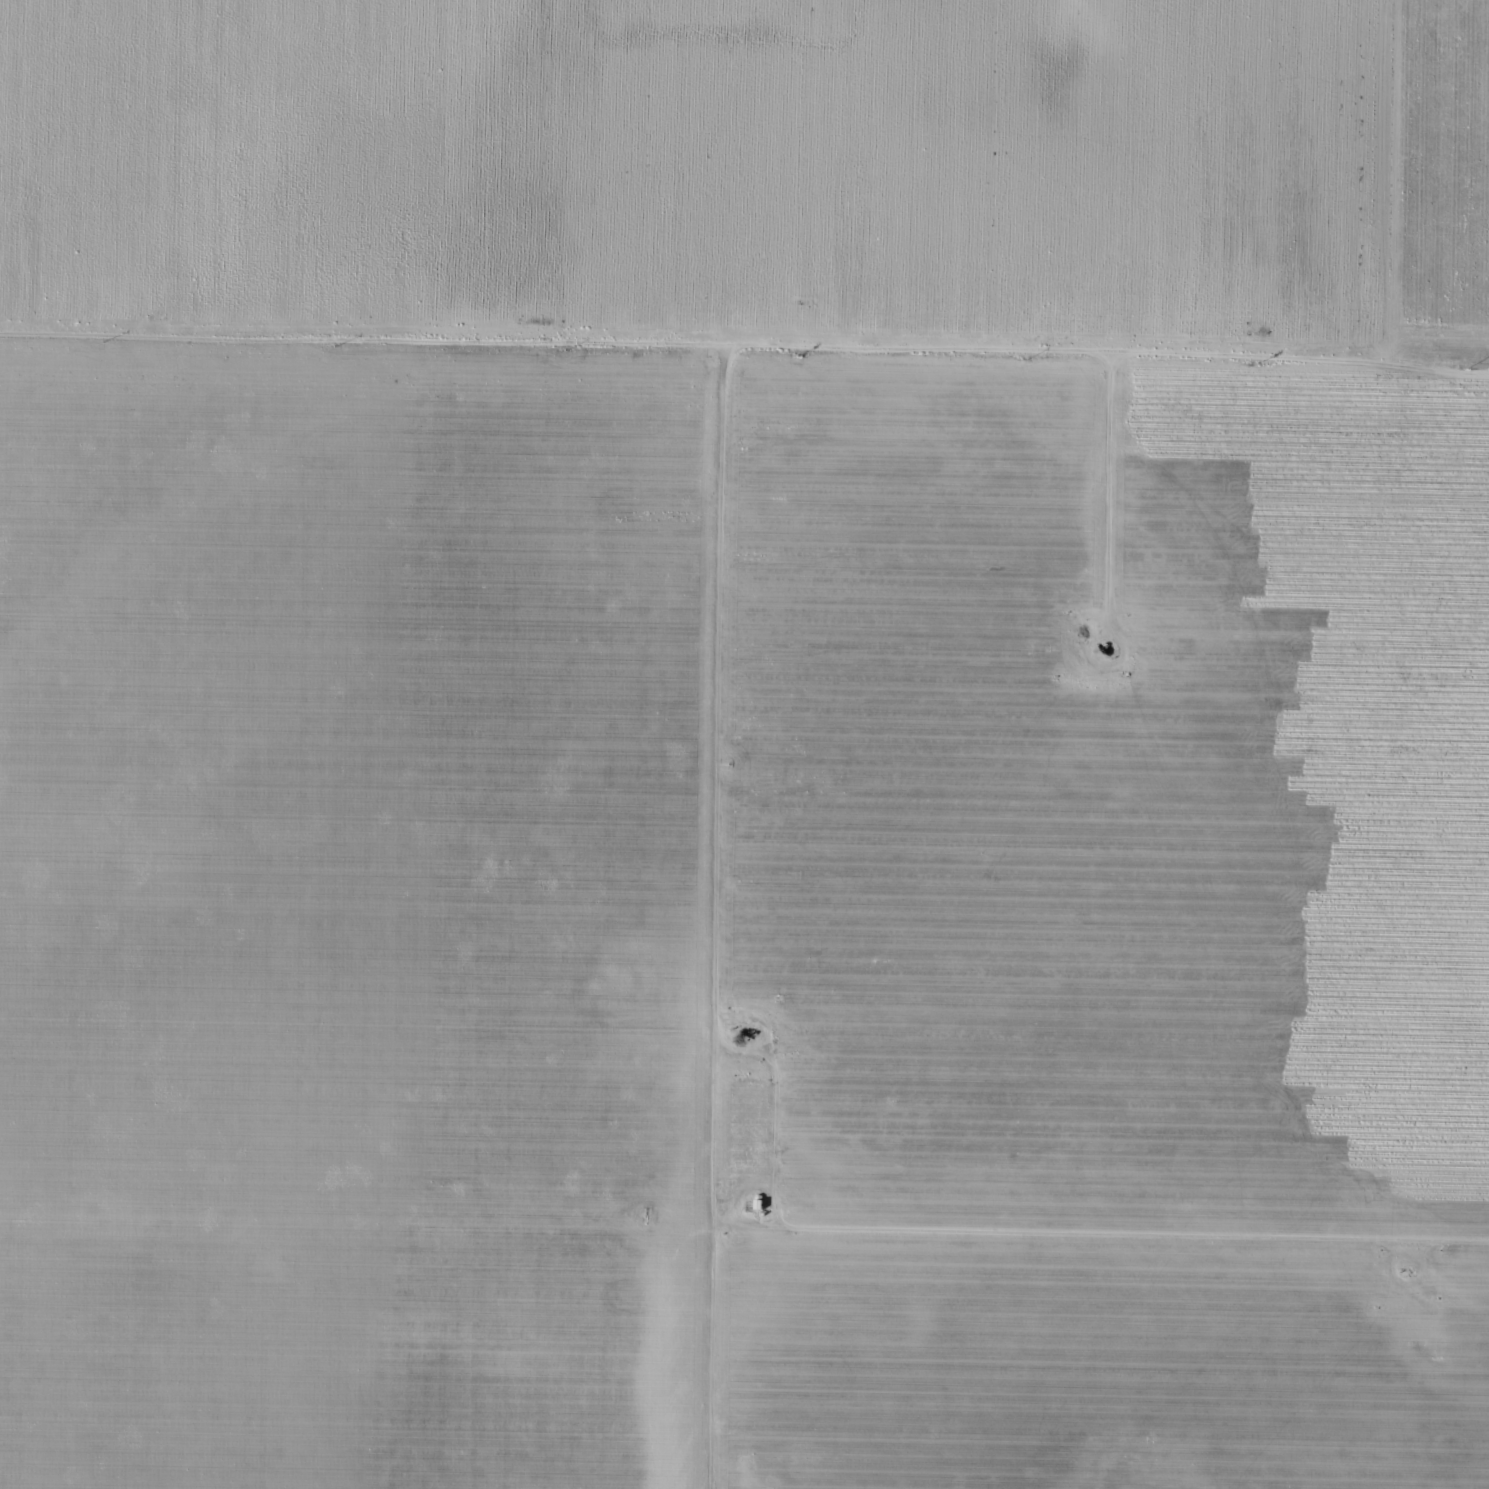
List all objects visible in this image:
road: (744, 372)

